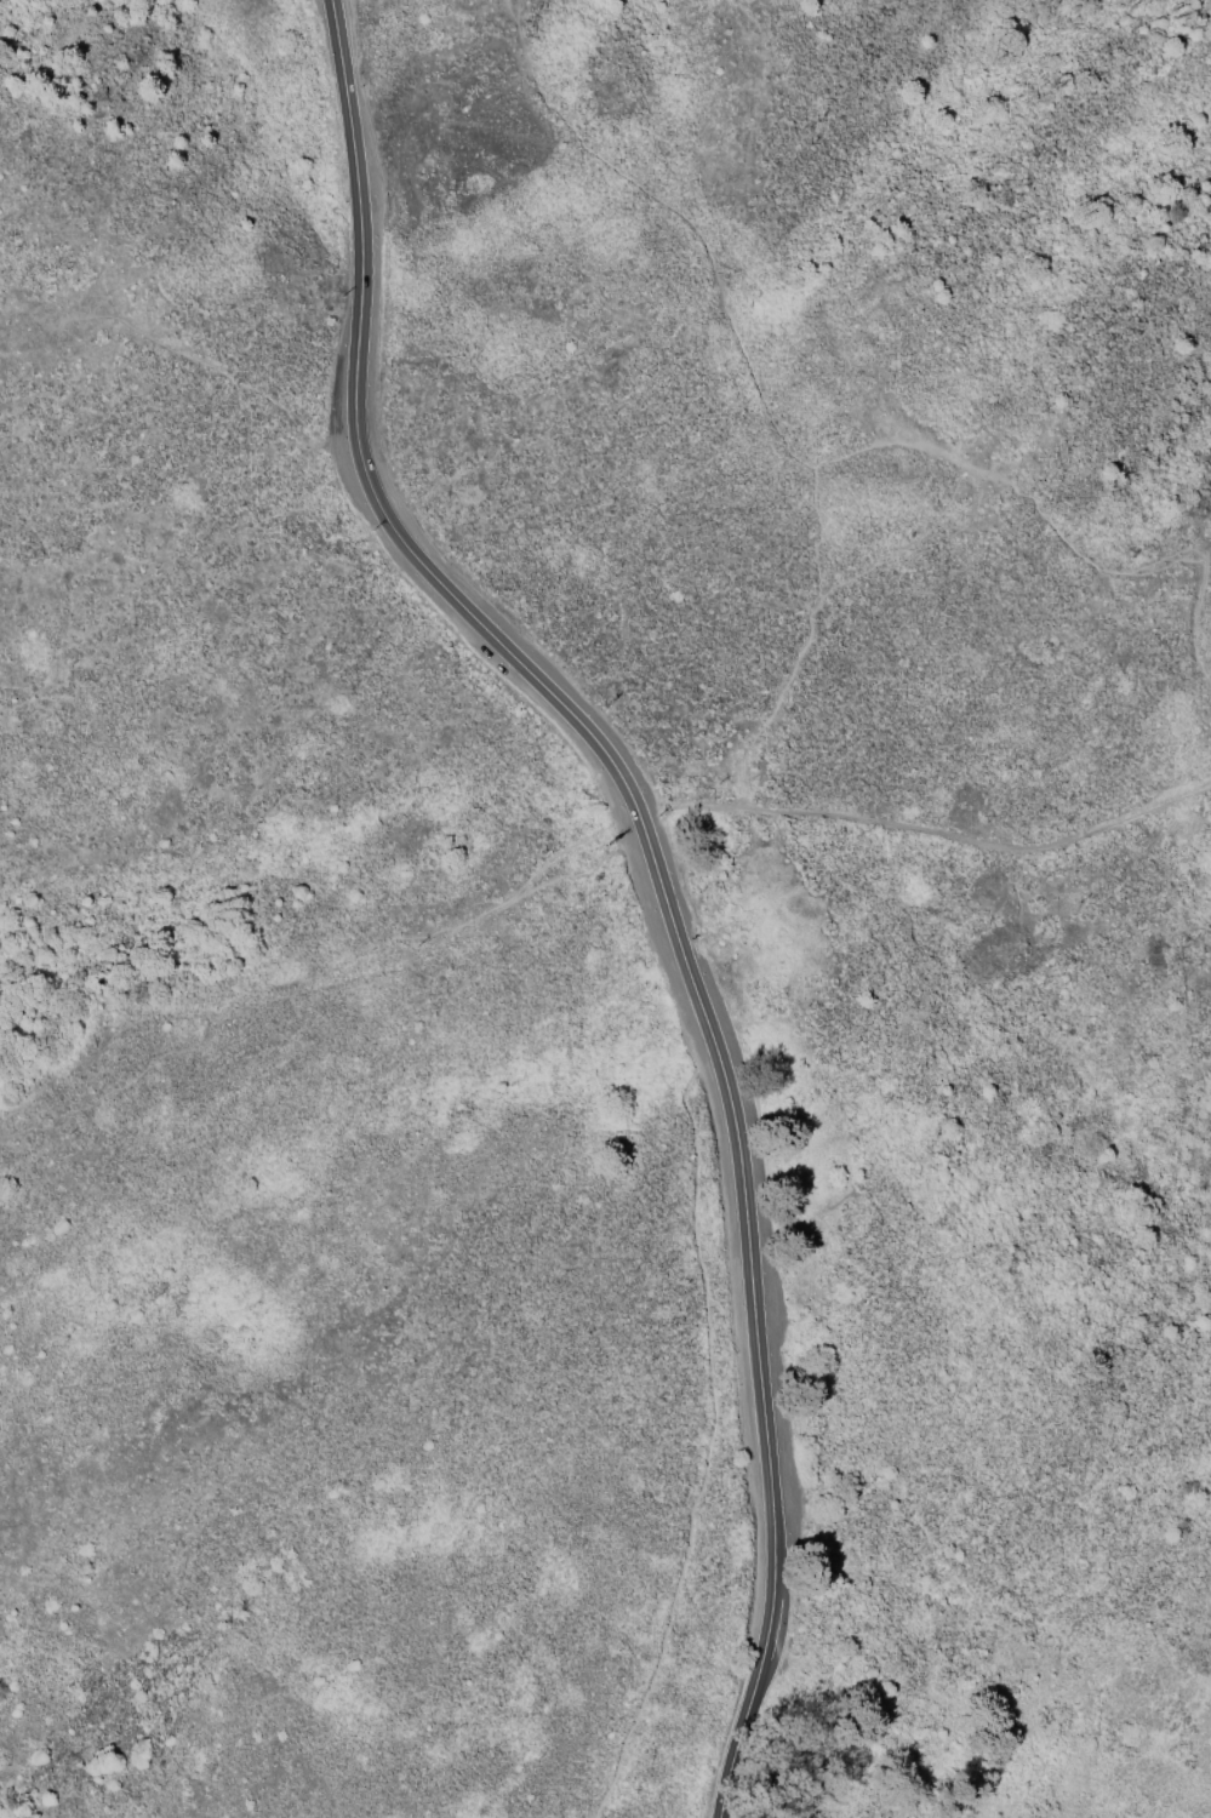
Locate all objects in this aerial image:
road: (777, 417)
road: (902, 555)
road: (1204, 636)
road: (811, 641)
road: (929, 833)
road: (653, 865)
road: (706, 1434)

